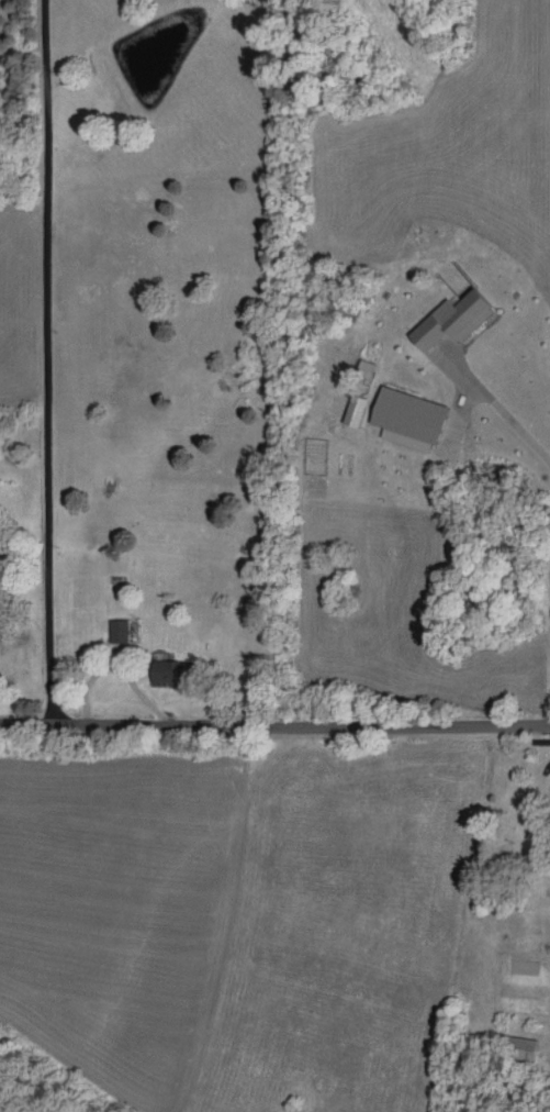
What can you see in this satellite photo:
building: (441, 318)
road: (47, 358)
building: (357, 365)
road: (503, 411)
building: (399, 414)
building: (110, 627)
road: (274, 720)

